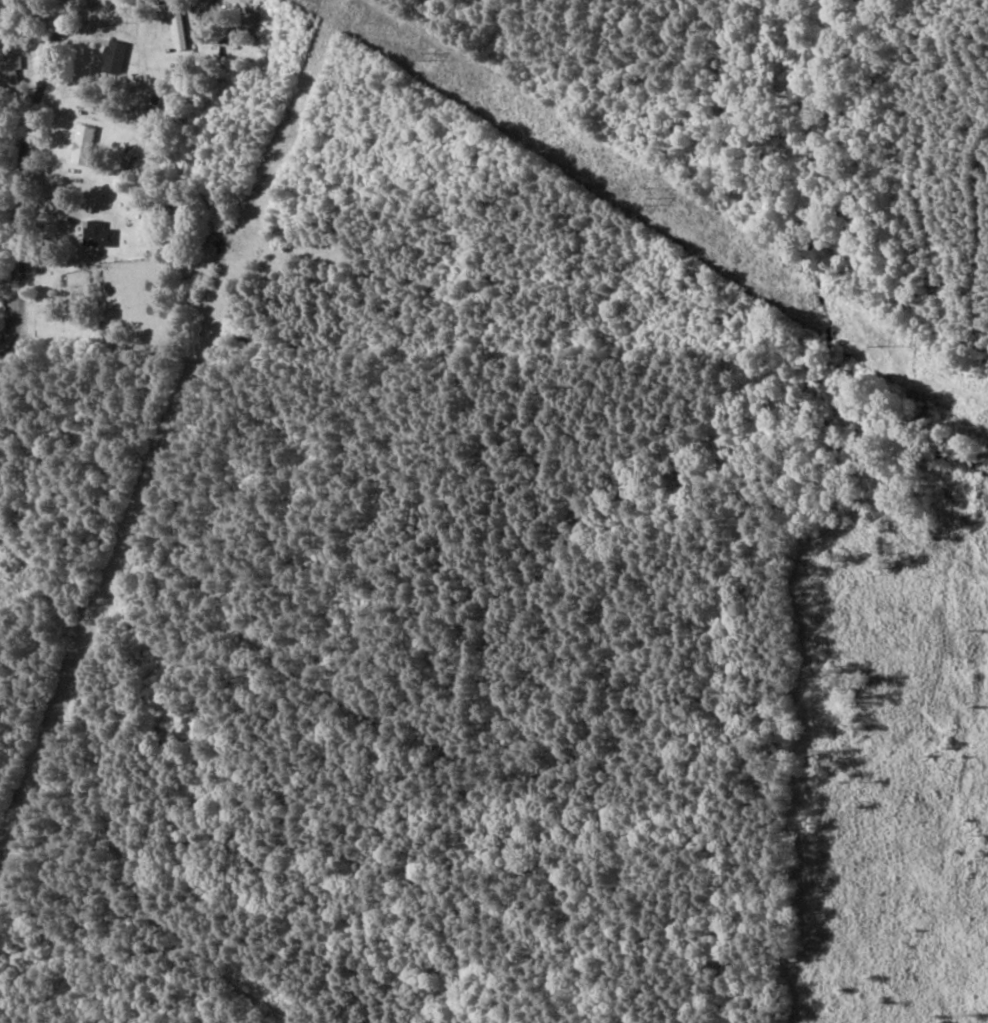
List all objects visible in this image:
building: (113, 54)
building: (81, 144)
road: (27, 179)
building: (97, 234)

